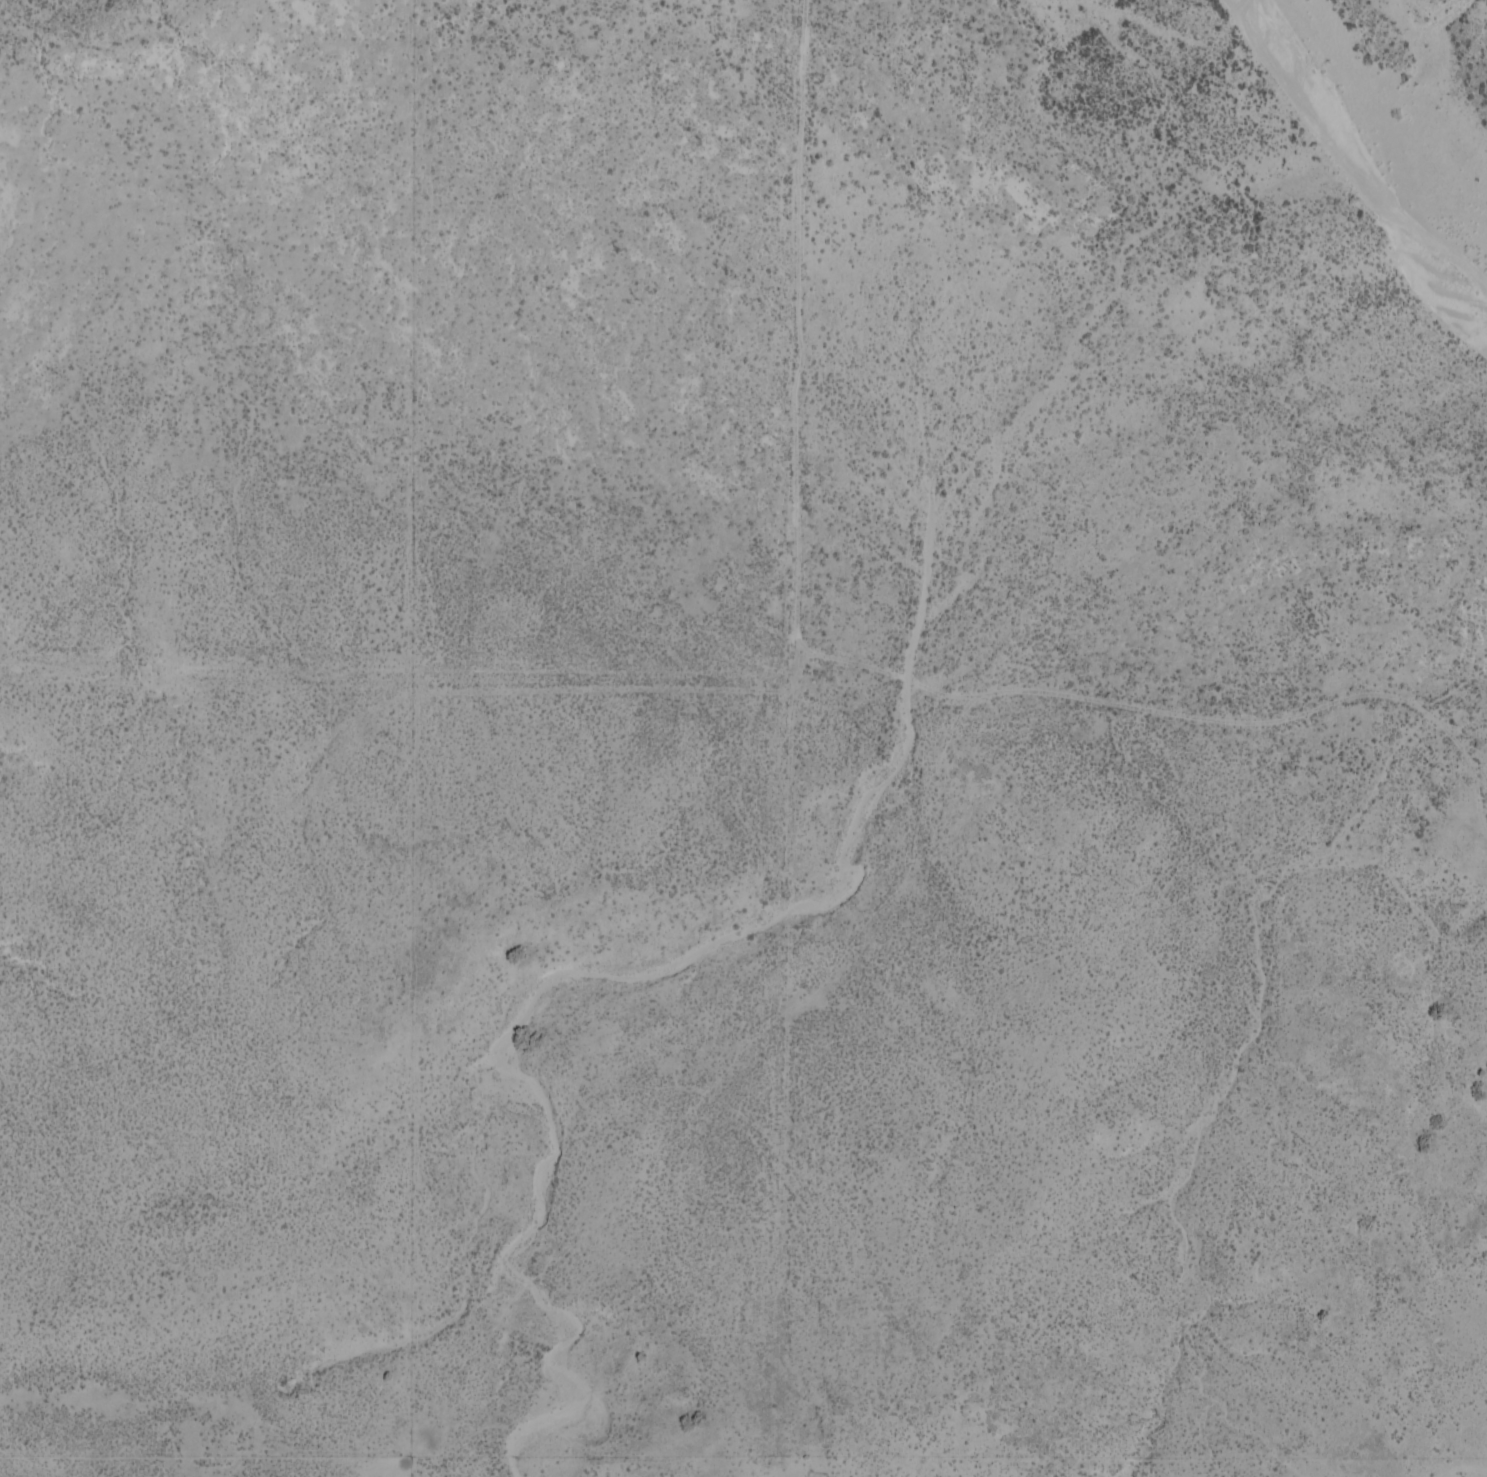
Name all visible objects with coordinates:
river: (1361, 156)

